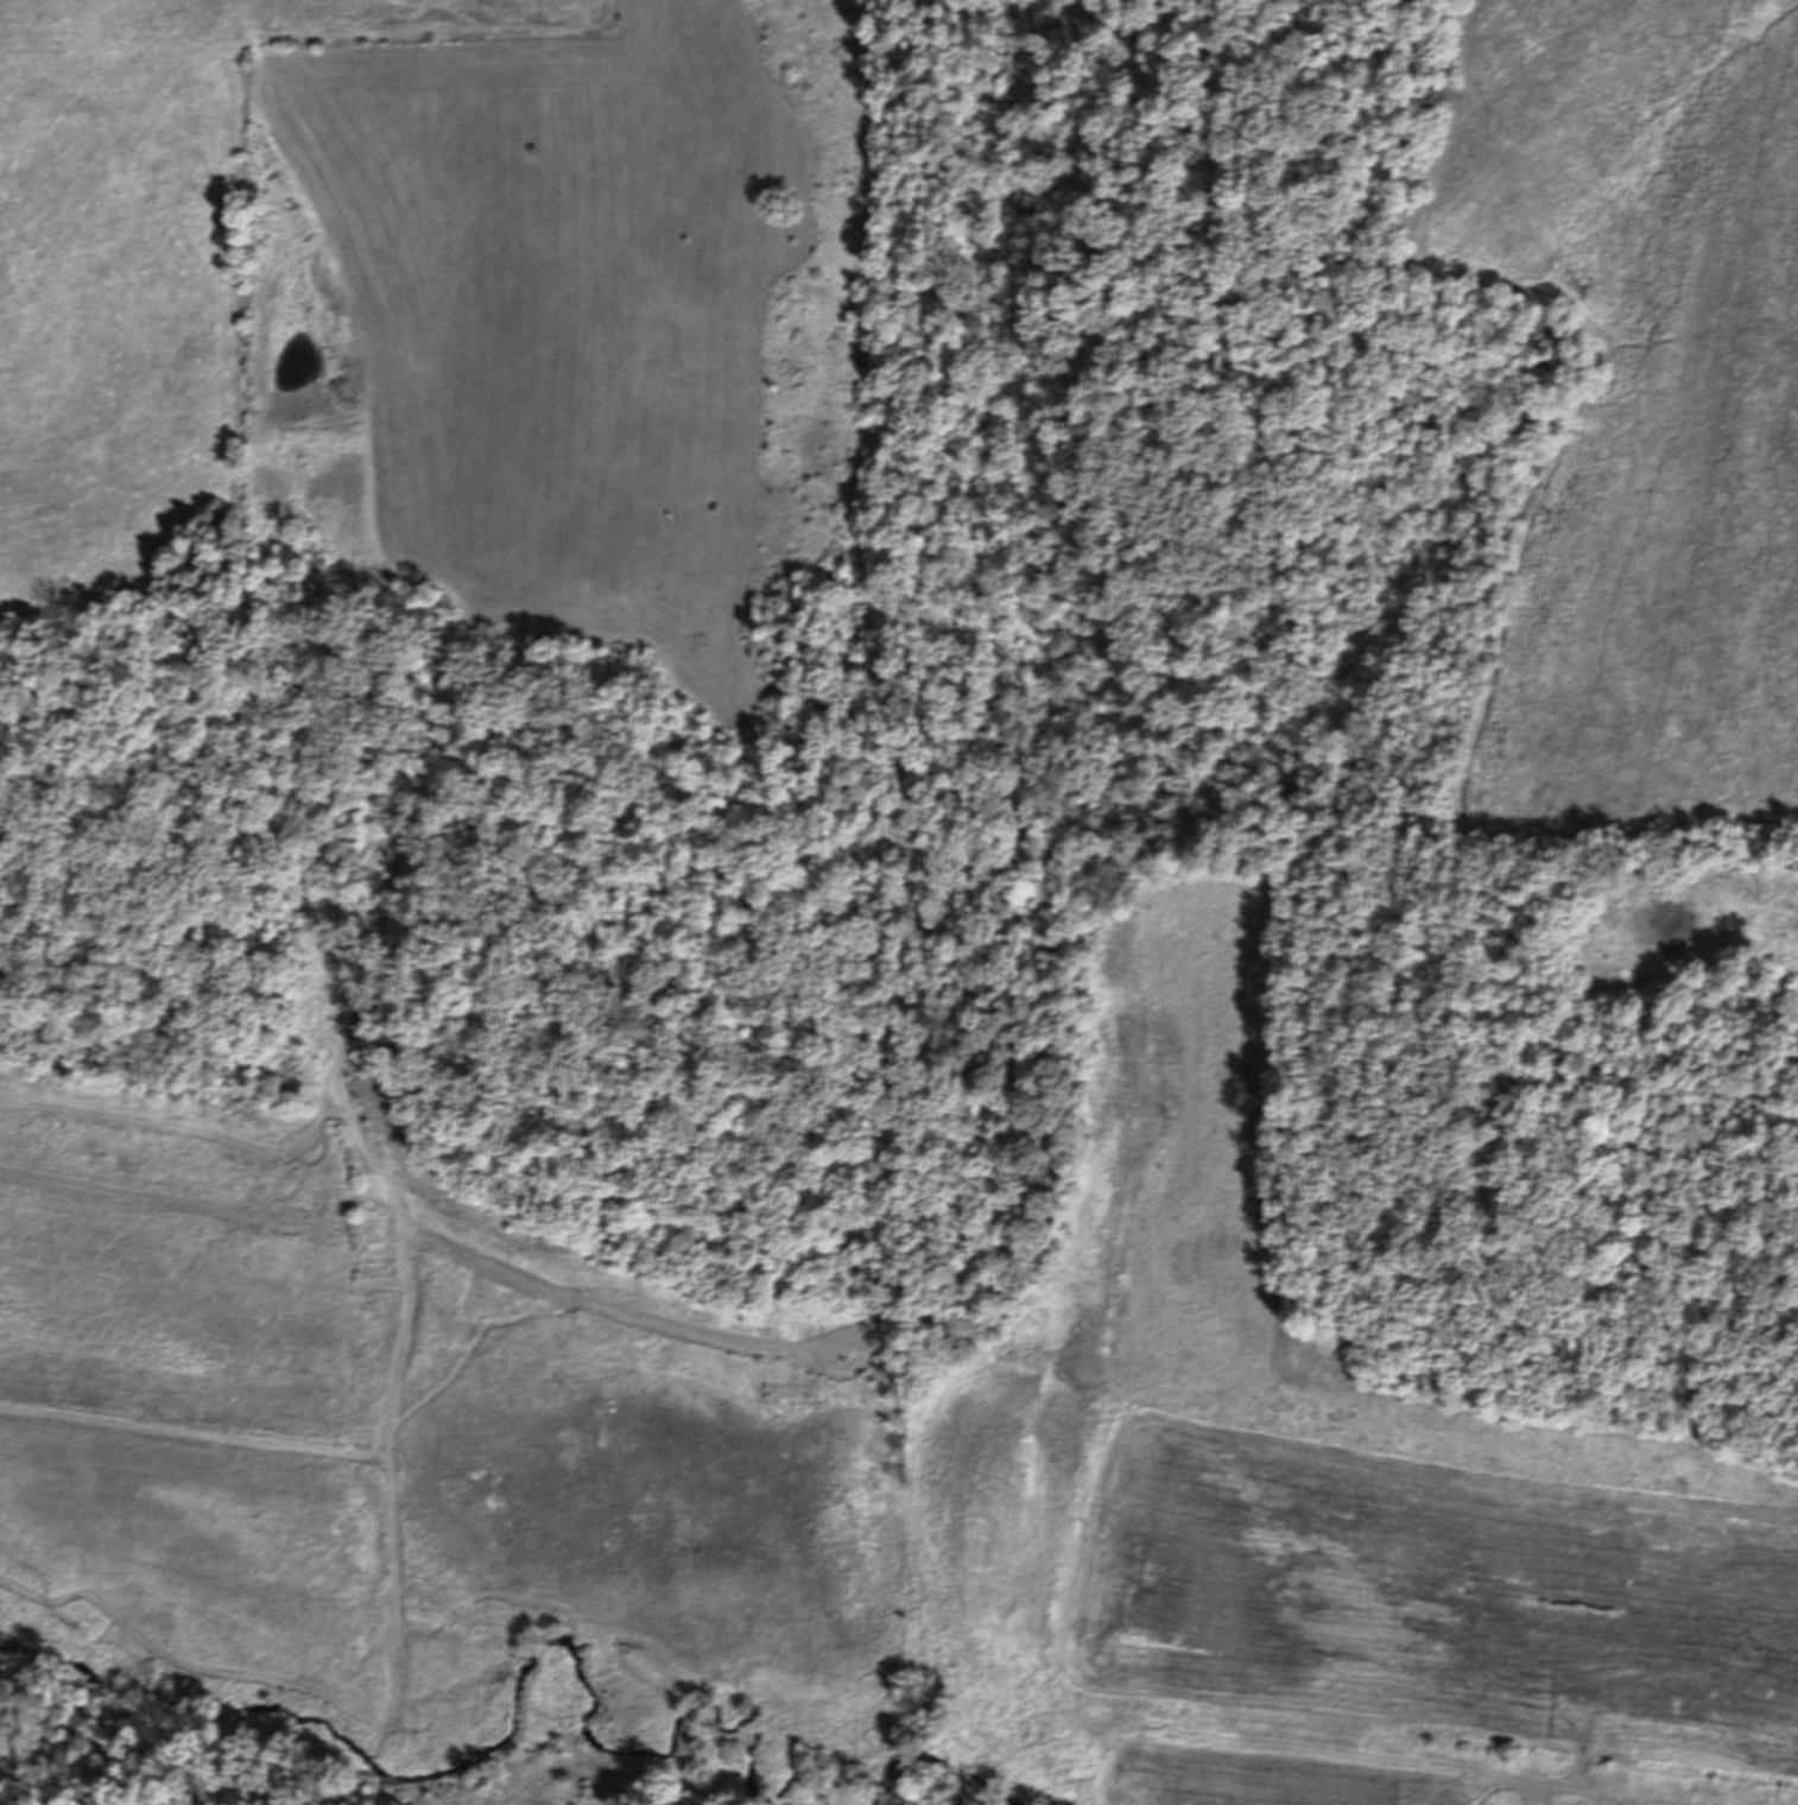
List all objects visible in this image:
road: (1596, 1780)

